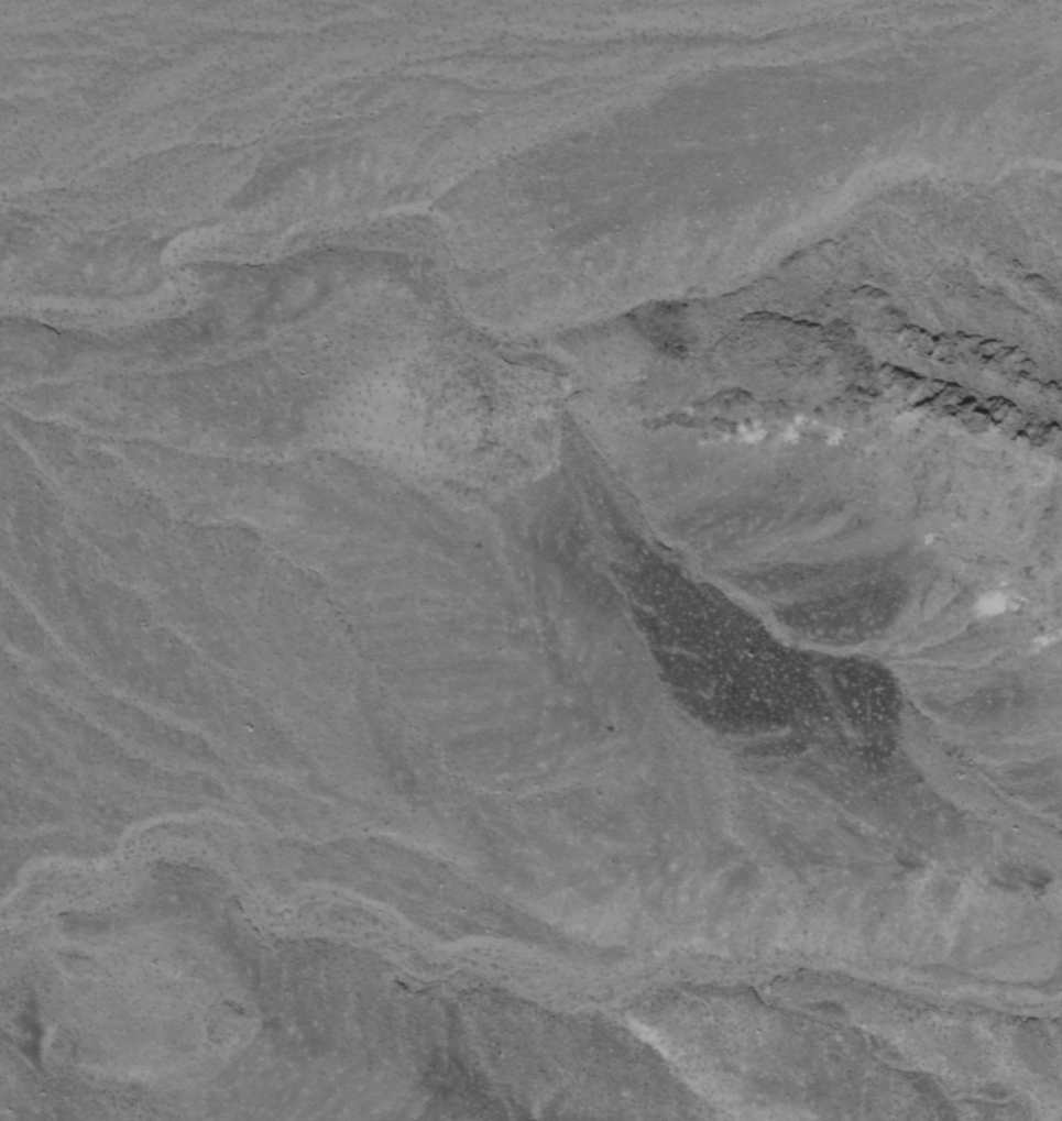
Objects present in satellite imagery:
road: (507, 904)

